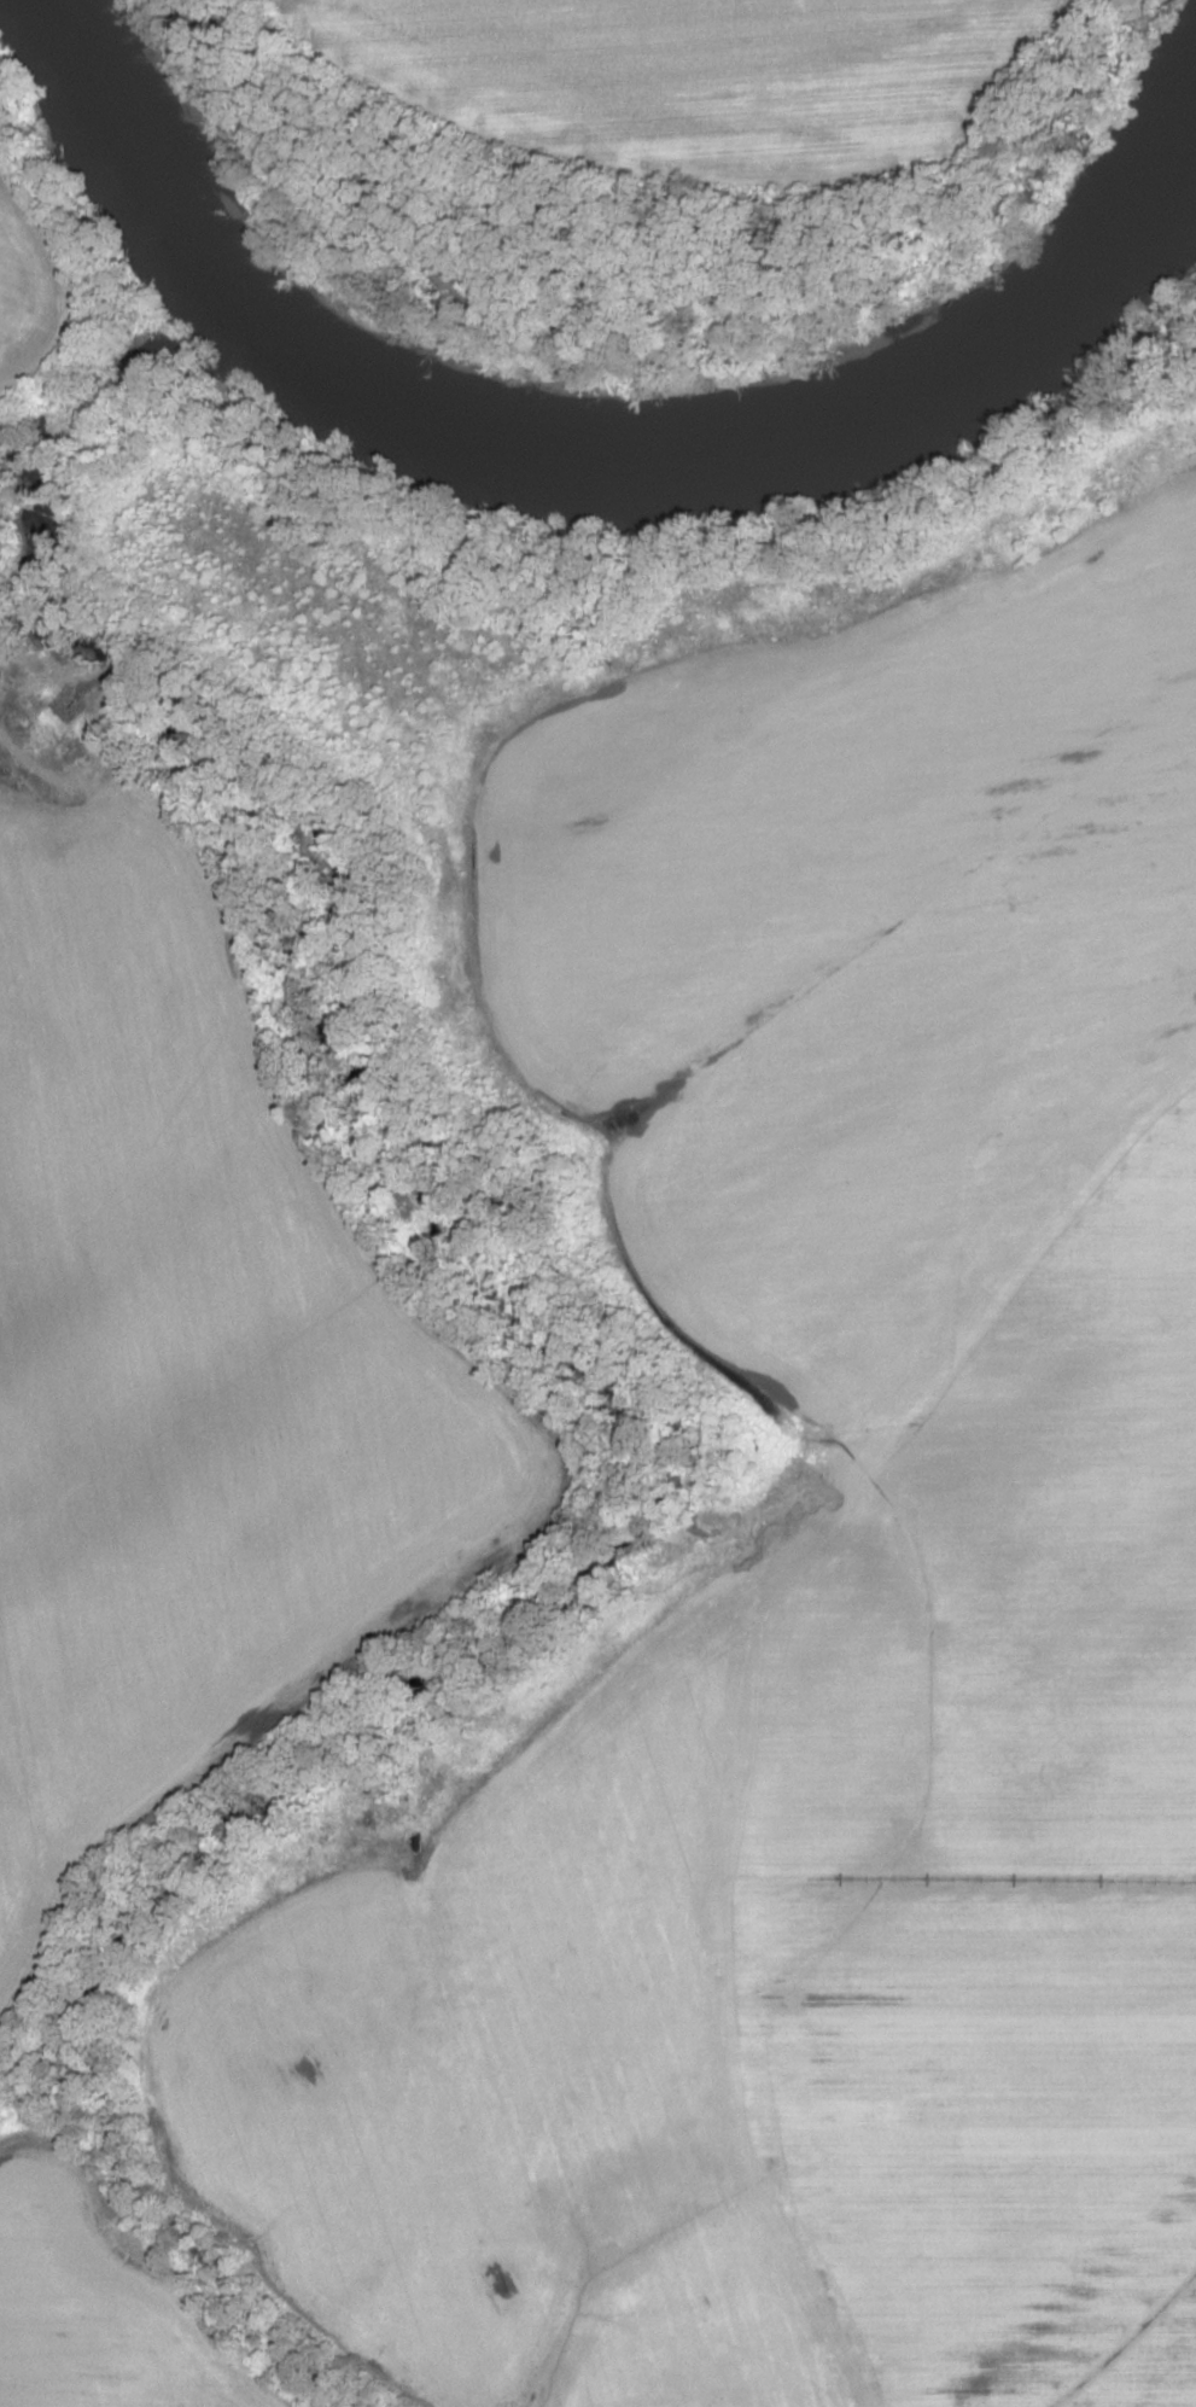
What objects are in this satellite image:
river: (587, 448)

